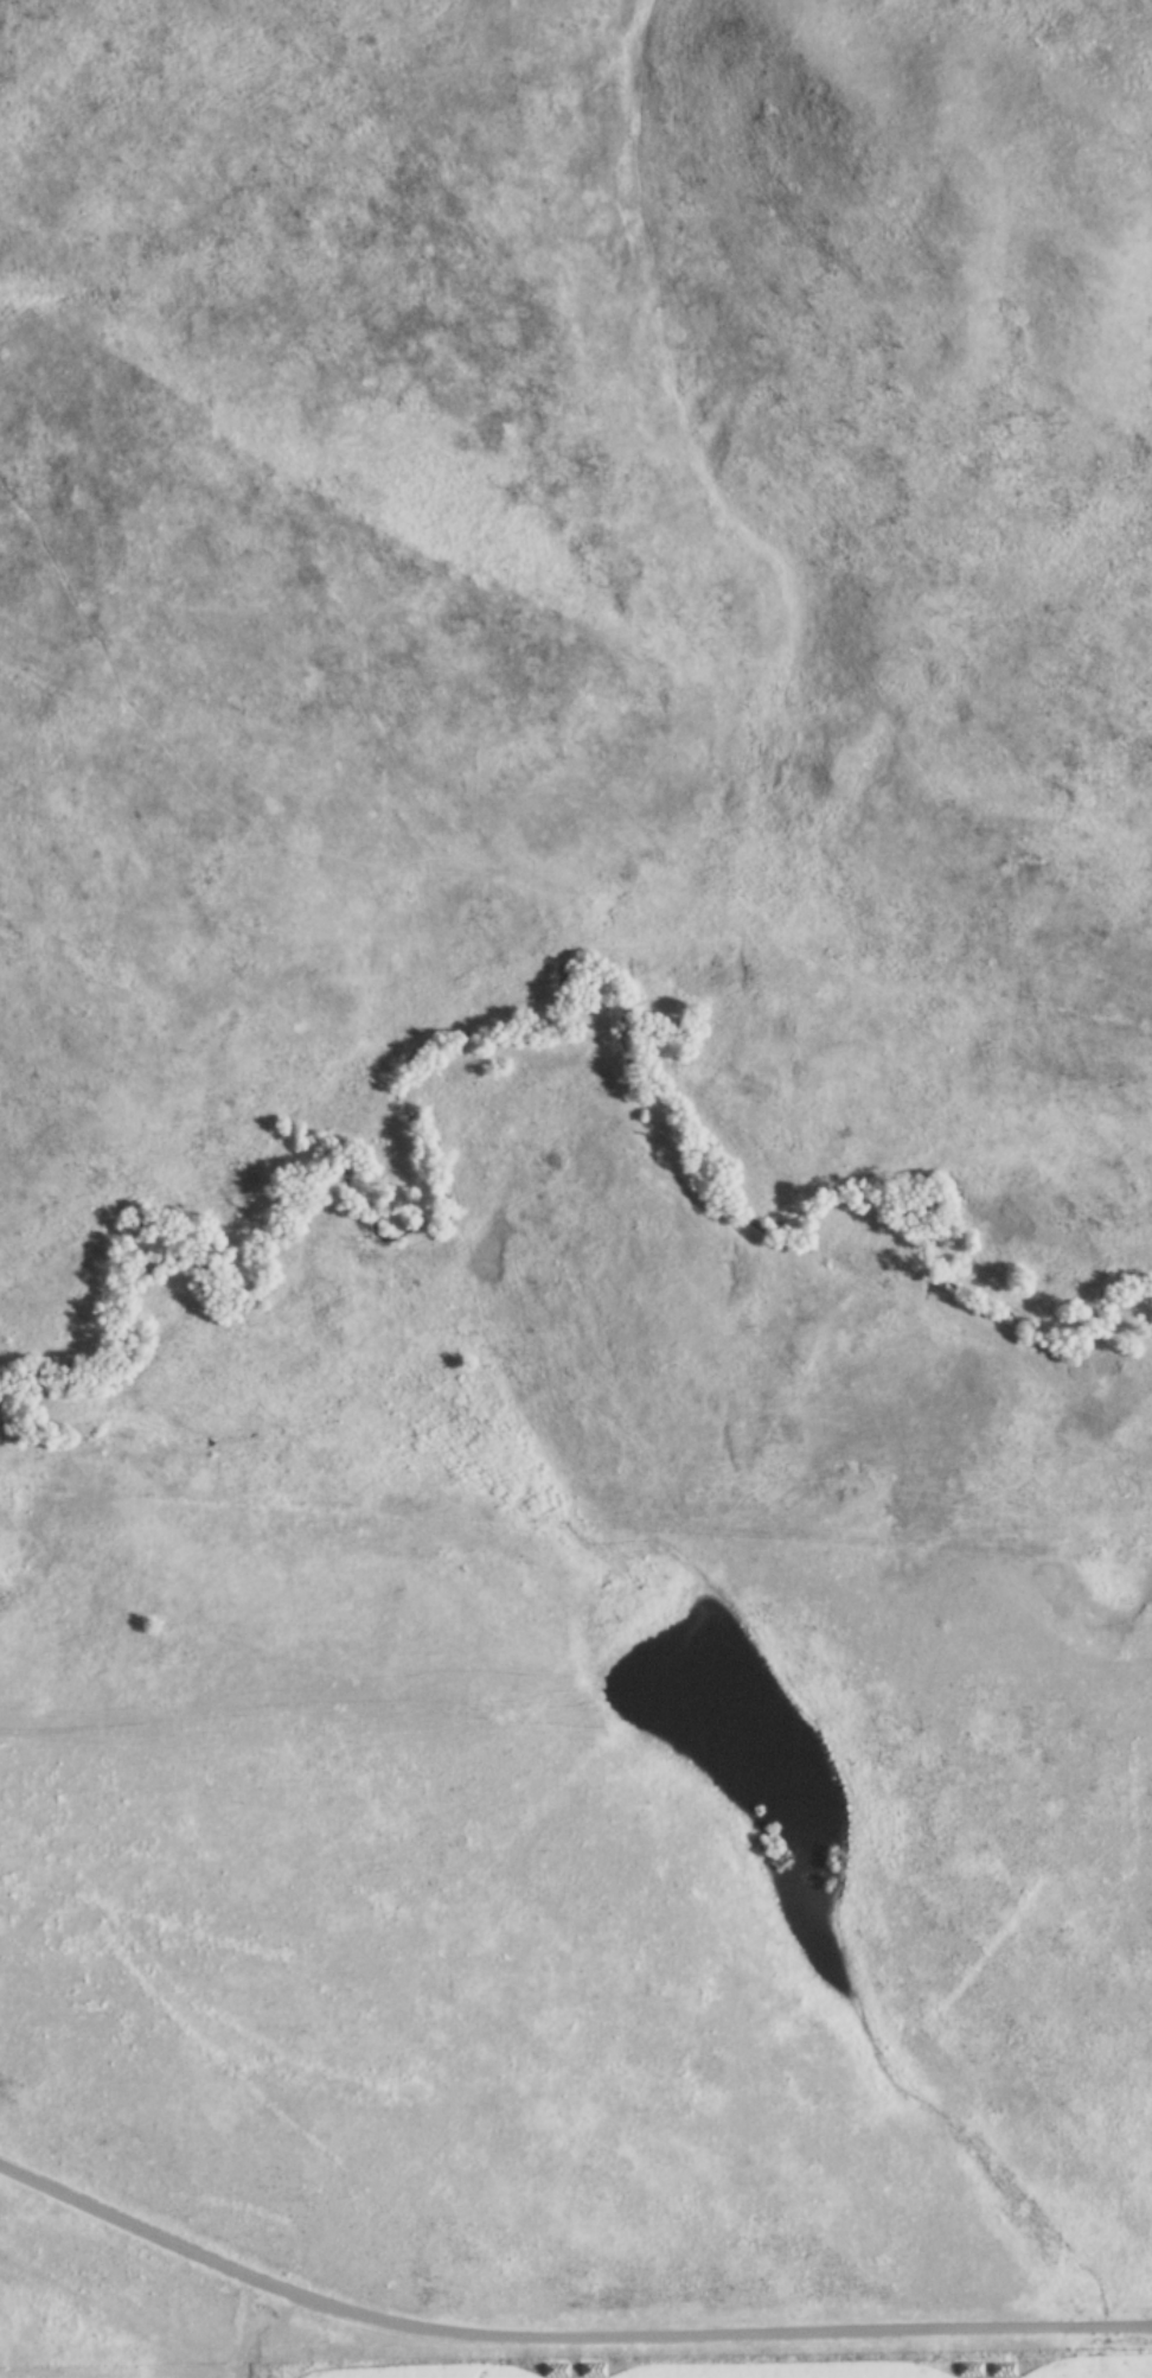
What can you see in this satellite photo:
road: (559, 2329)

